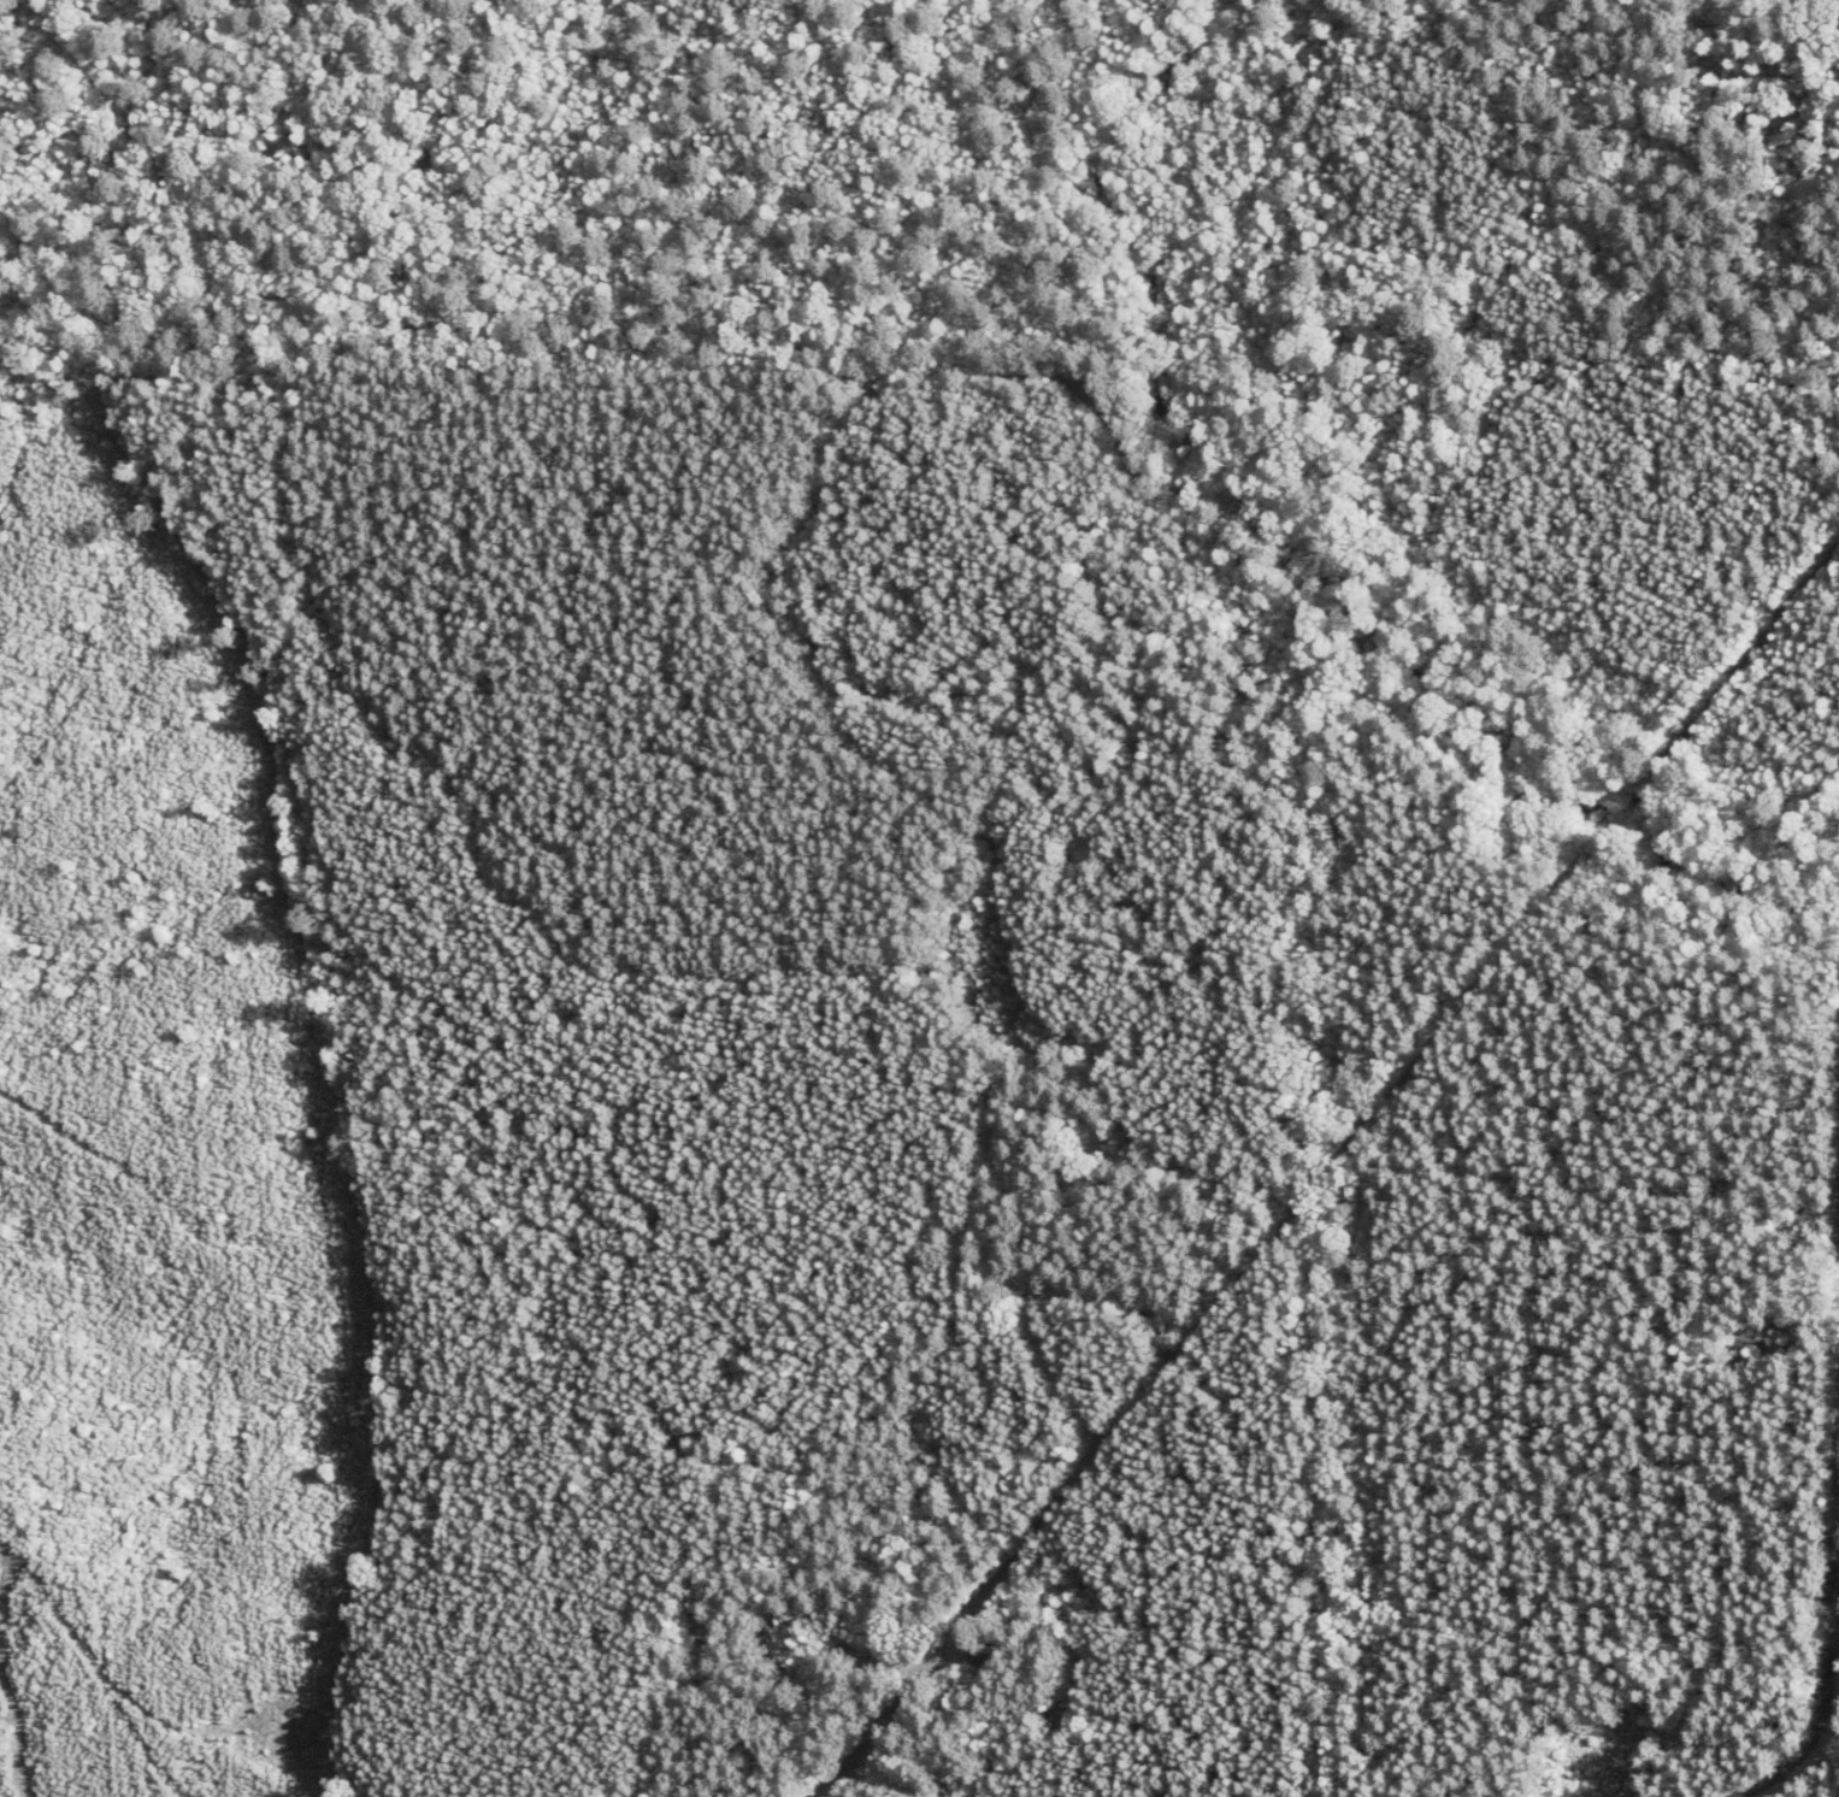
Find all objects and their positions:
road: (1811, 1760)

